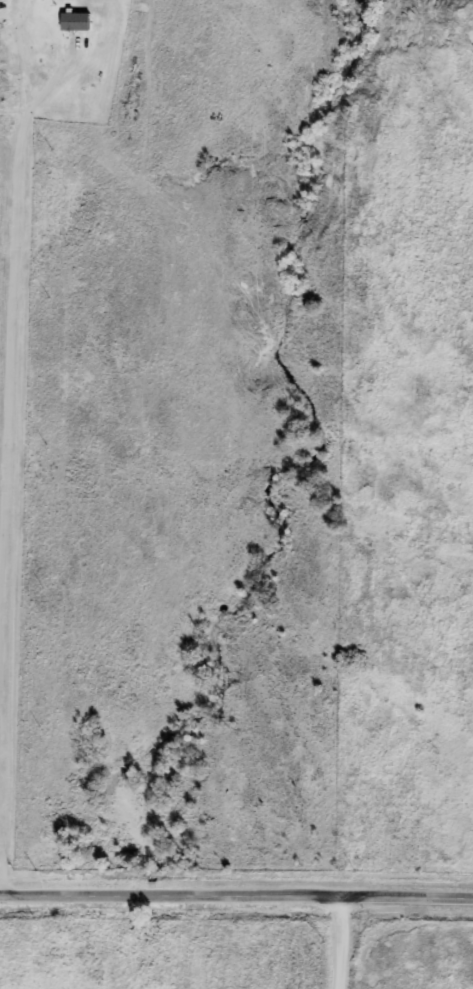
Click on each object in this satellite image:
building: (80, 18)
road: (13, 414)
road: (236, 892)
road: (345, 940)

